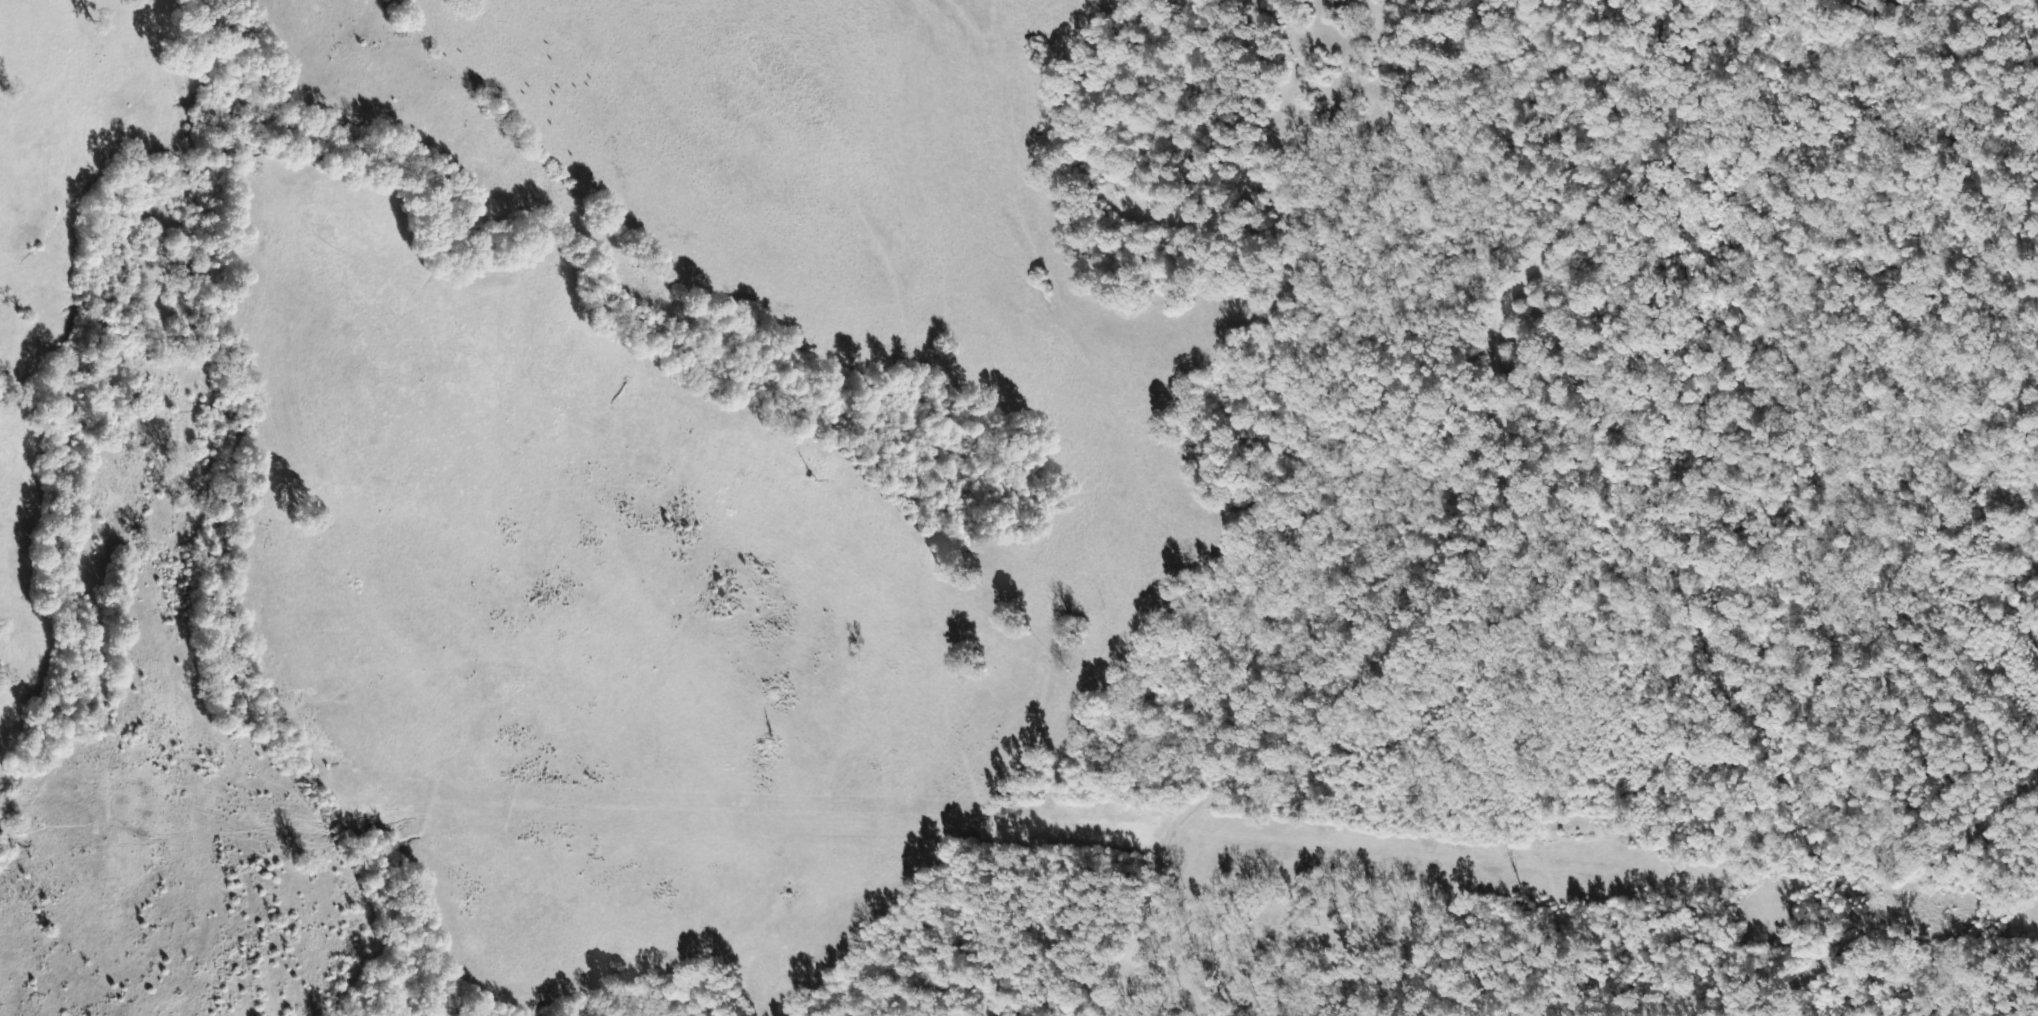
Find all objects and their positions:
road: (1477, 352)
road: (1097, 413)
road: (1145, 934)

